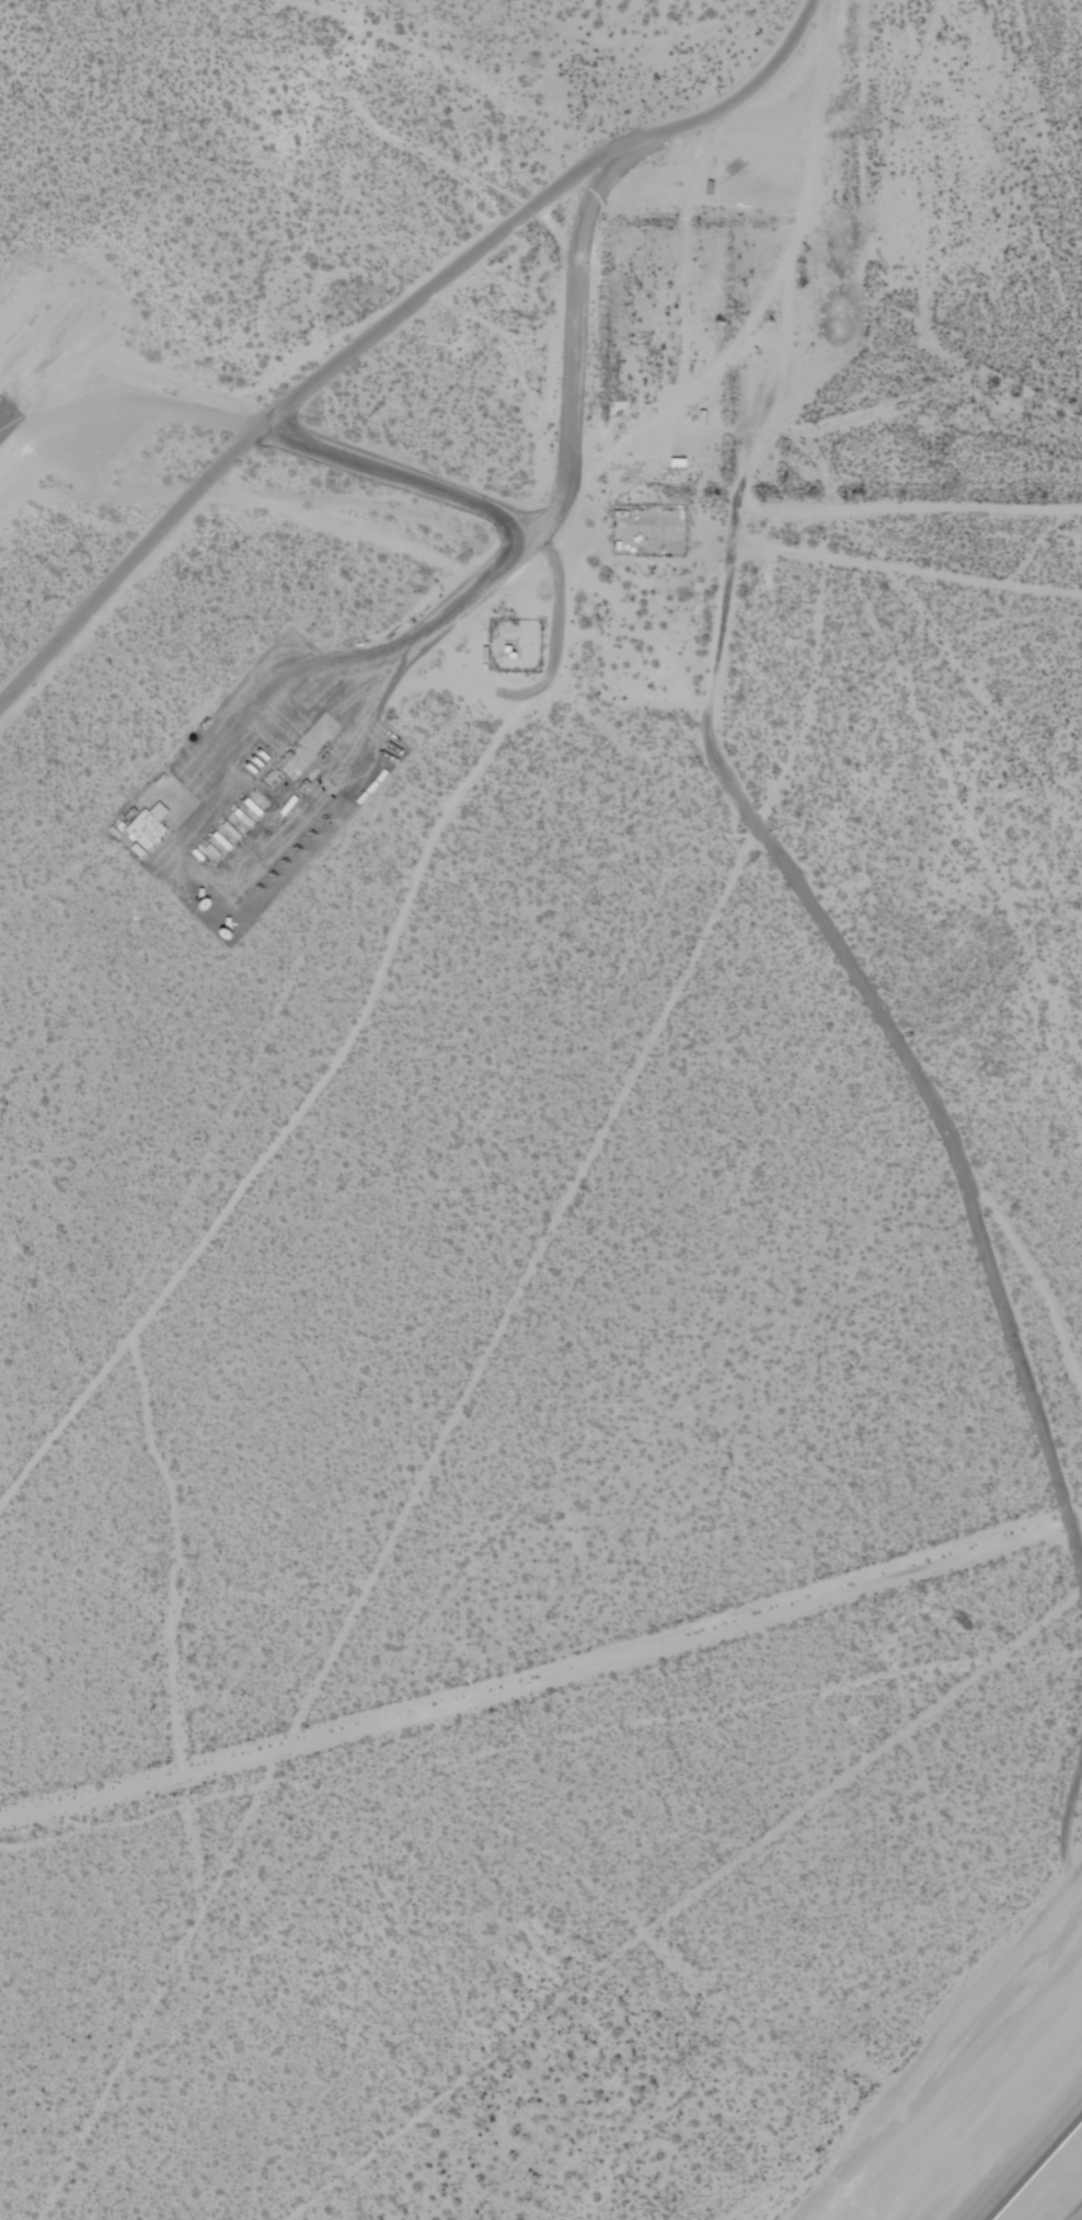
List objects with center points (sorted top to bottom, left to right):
road: (387, 321)
airport runway: (5, 410)
road: (400, 478)
building: (321, 689)
airport: (541, 1109)

